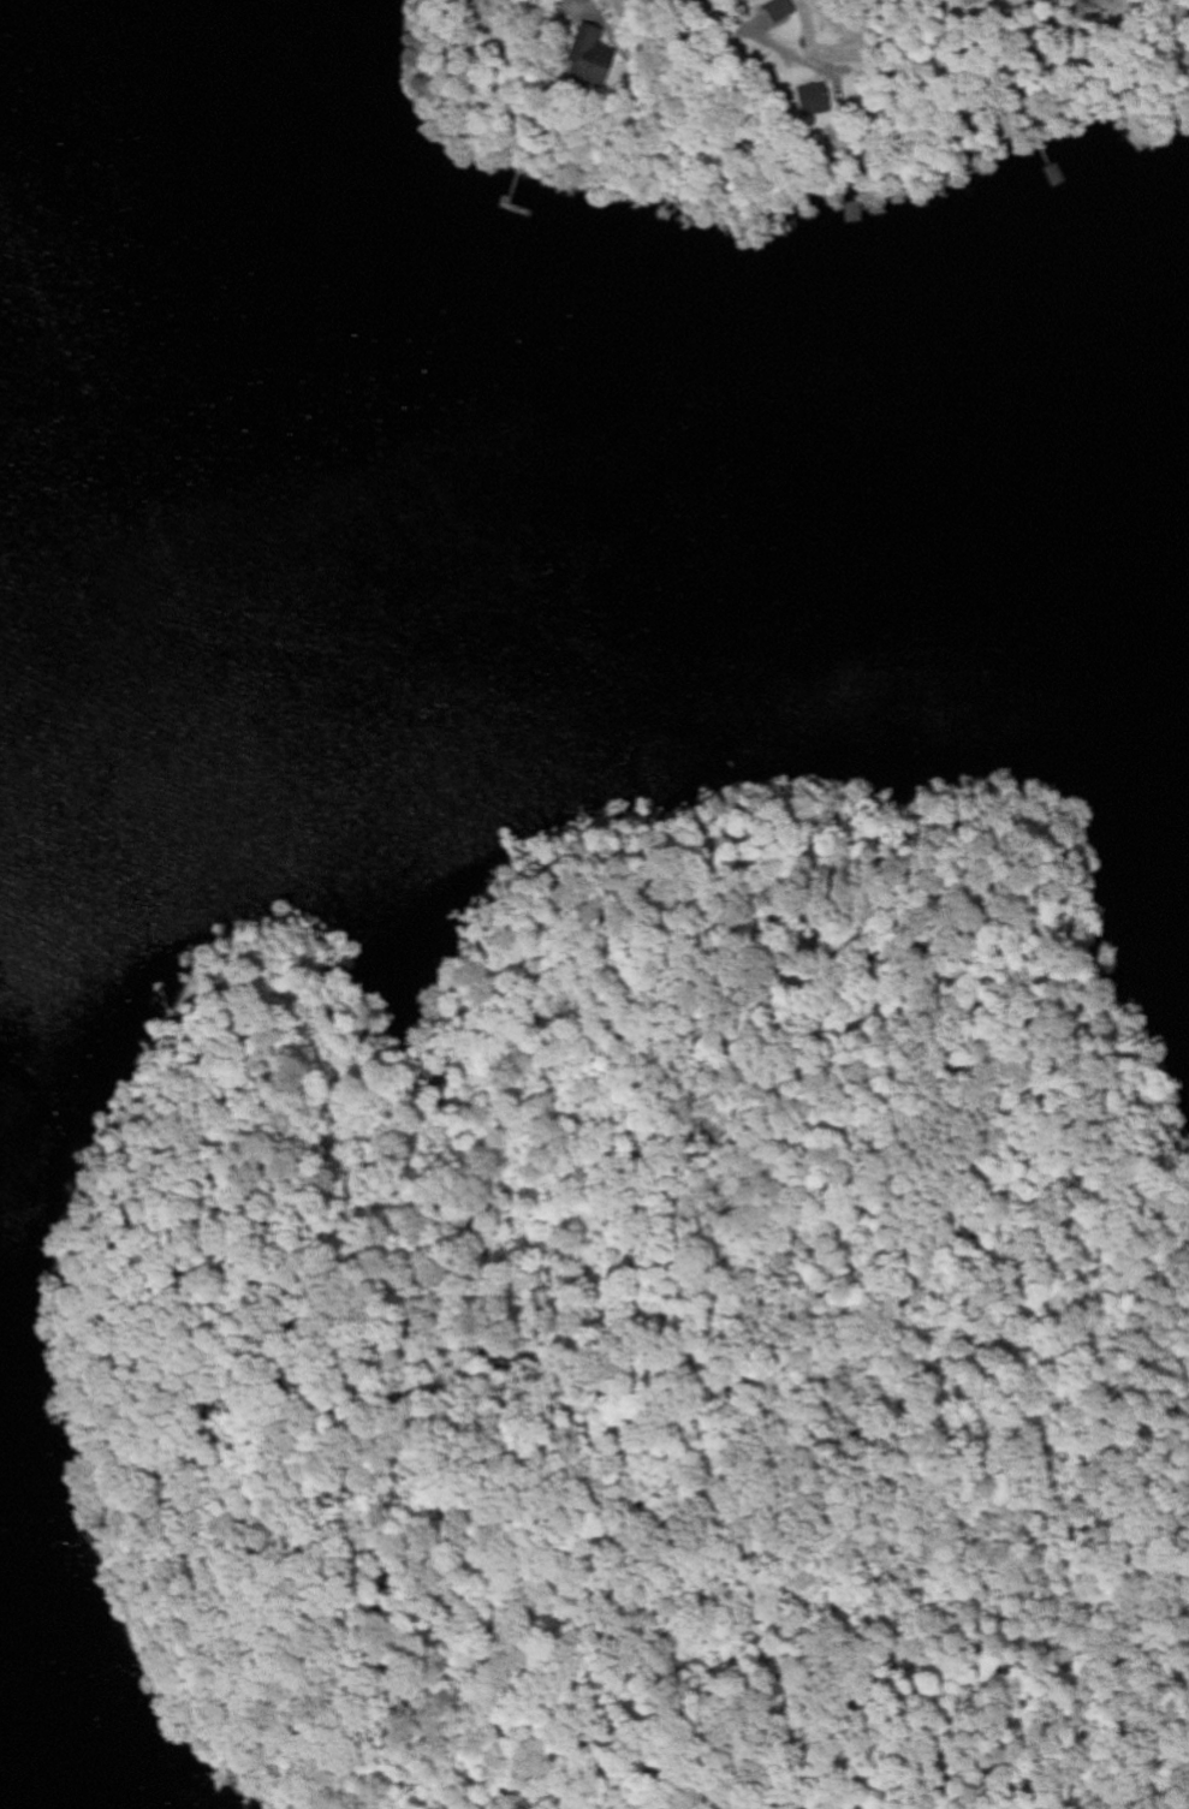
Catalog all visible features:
building: (818, 97)

